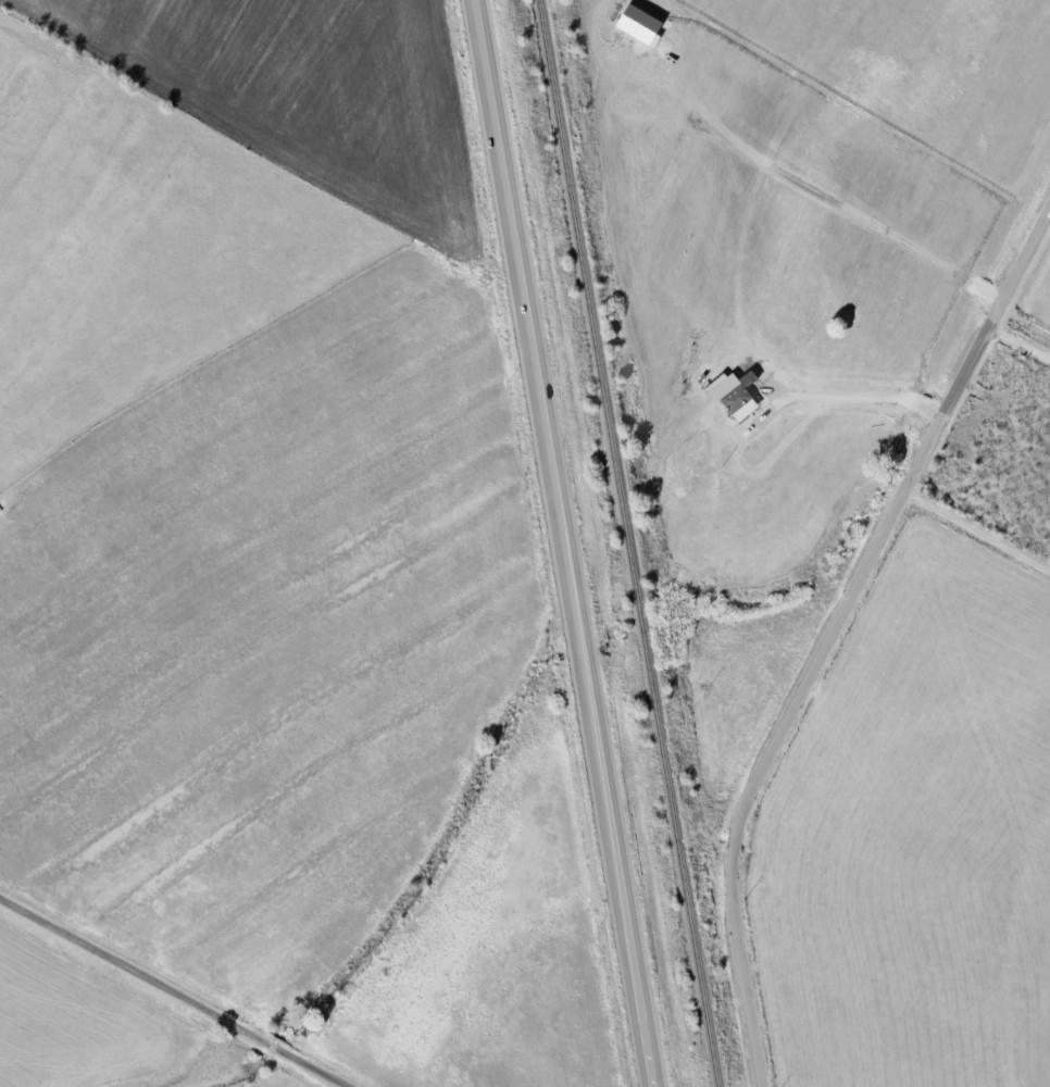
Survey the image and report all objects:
road: (1046, 232)
road: (1023, 335)
road: (861, 396)
building: (737, 397)
road: (984, 510)
railway: (630, 542)
road: (566, 543)
road: (833, 637)
road: (178, 990)

